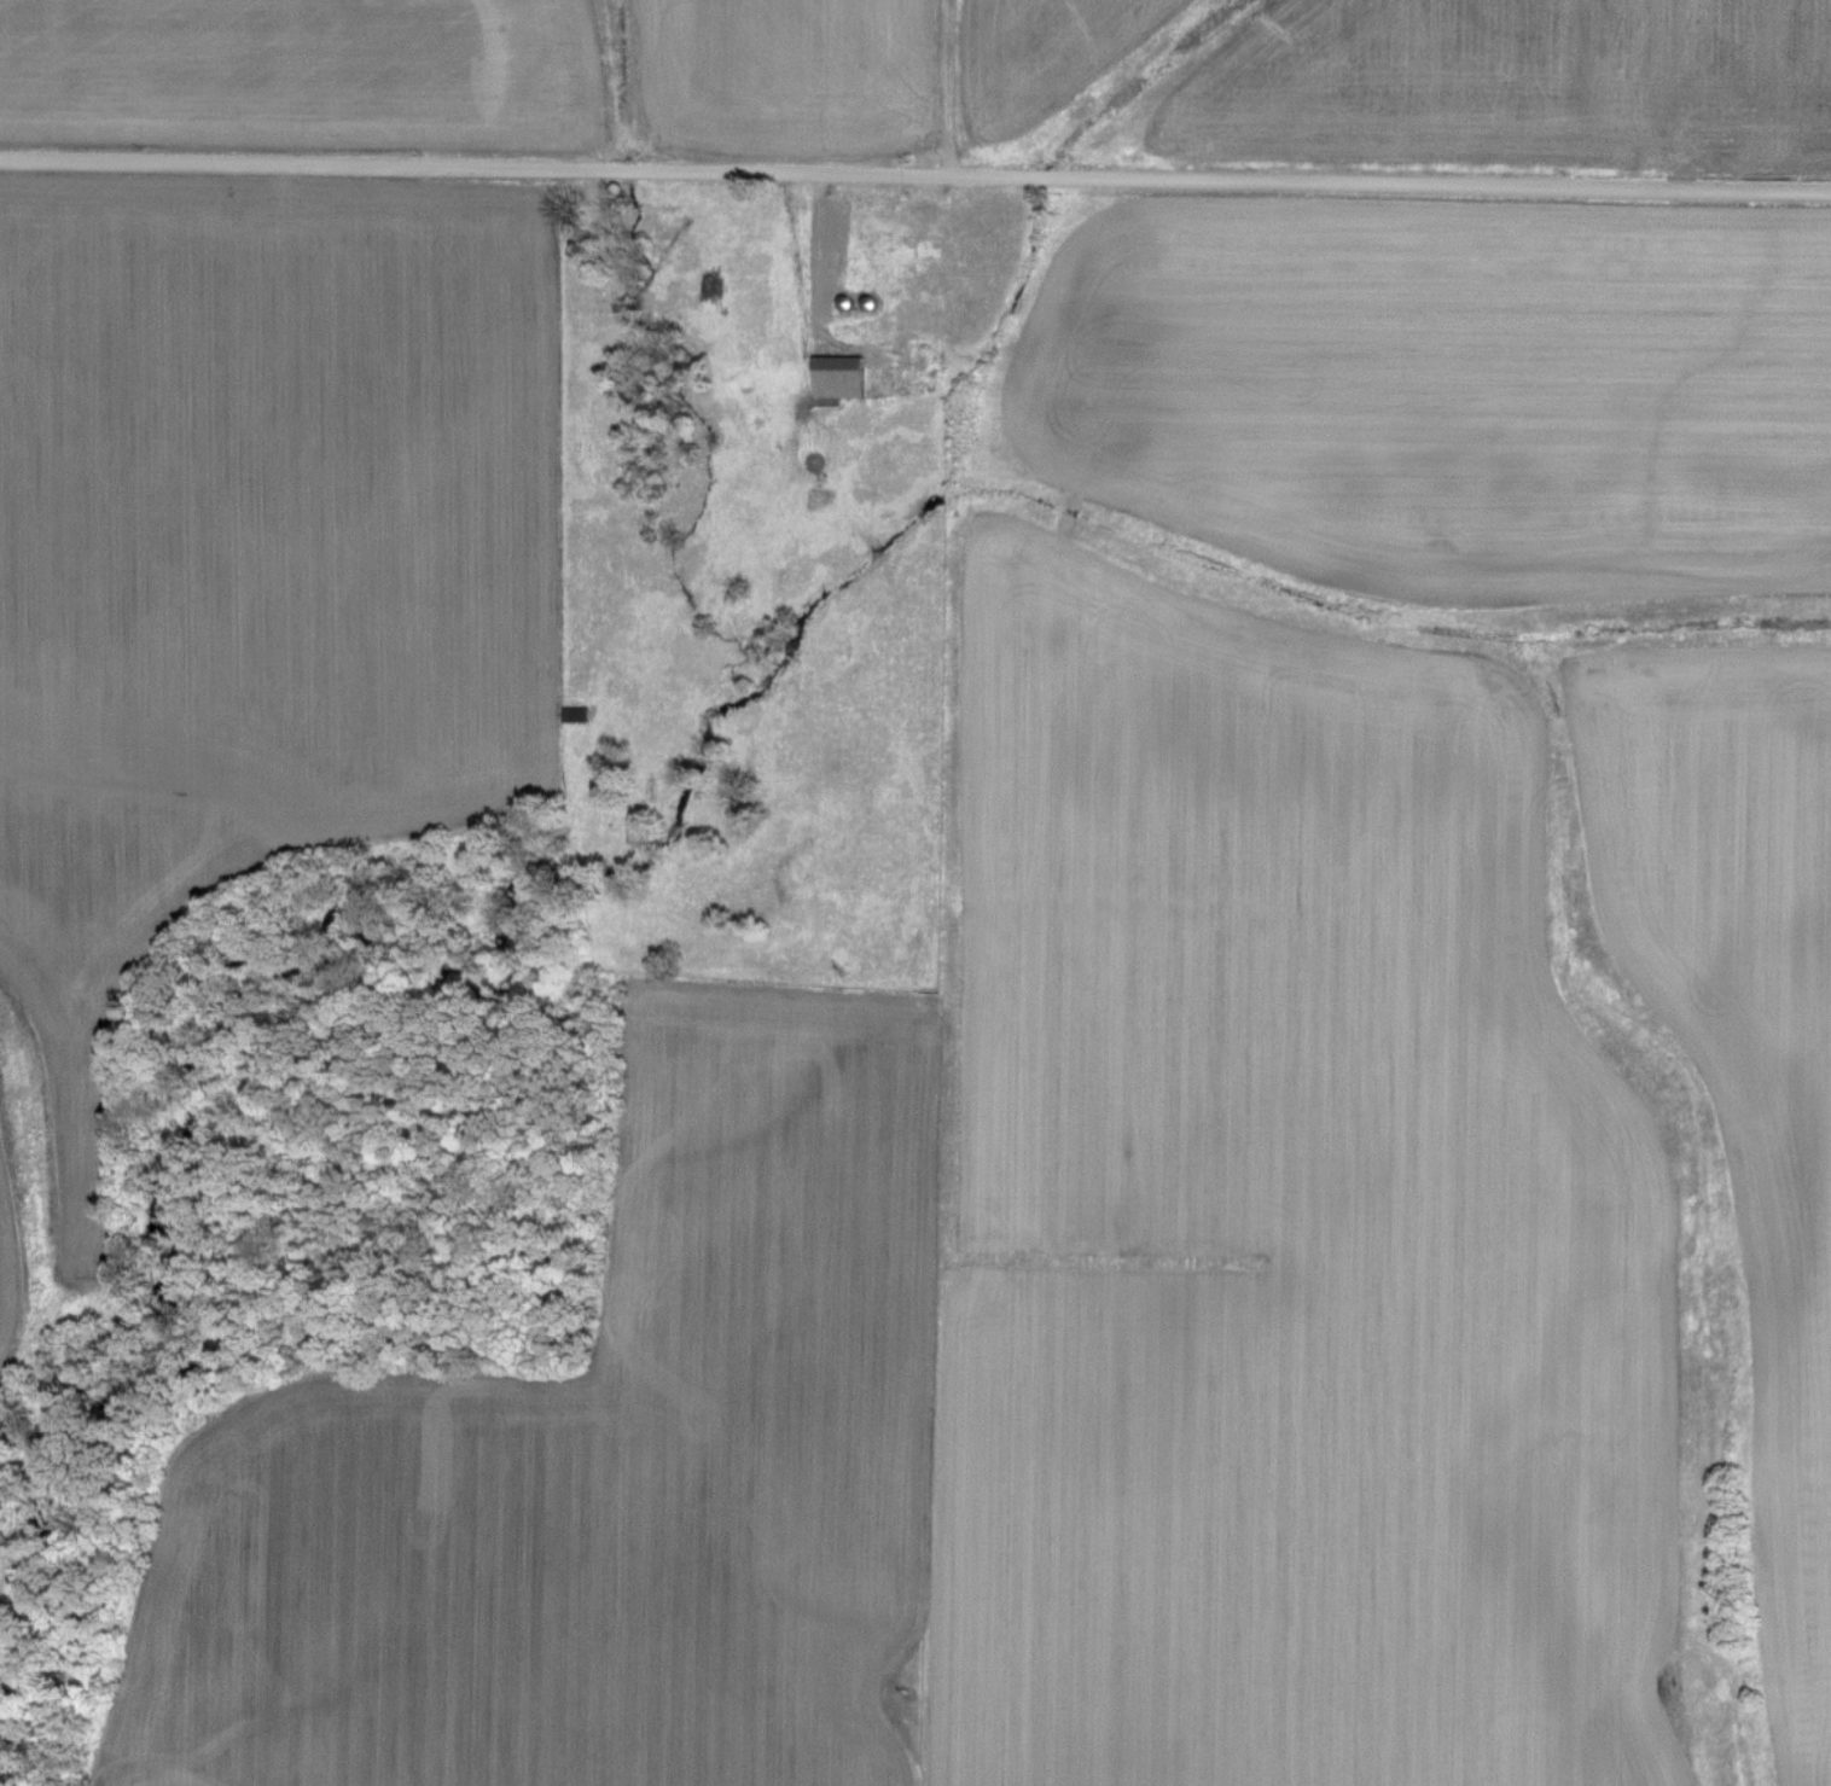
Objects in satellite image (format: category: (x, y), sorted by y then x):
road: (946, 88)
road: (914, 175)
road: (812, 252)
building: (836, 376)

